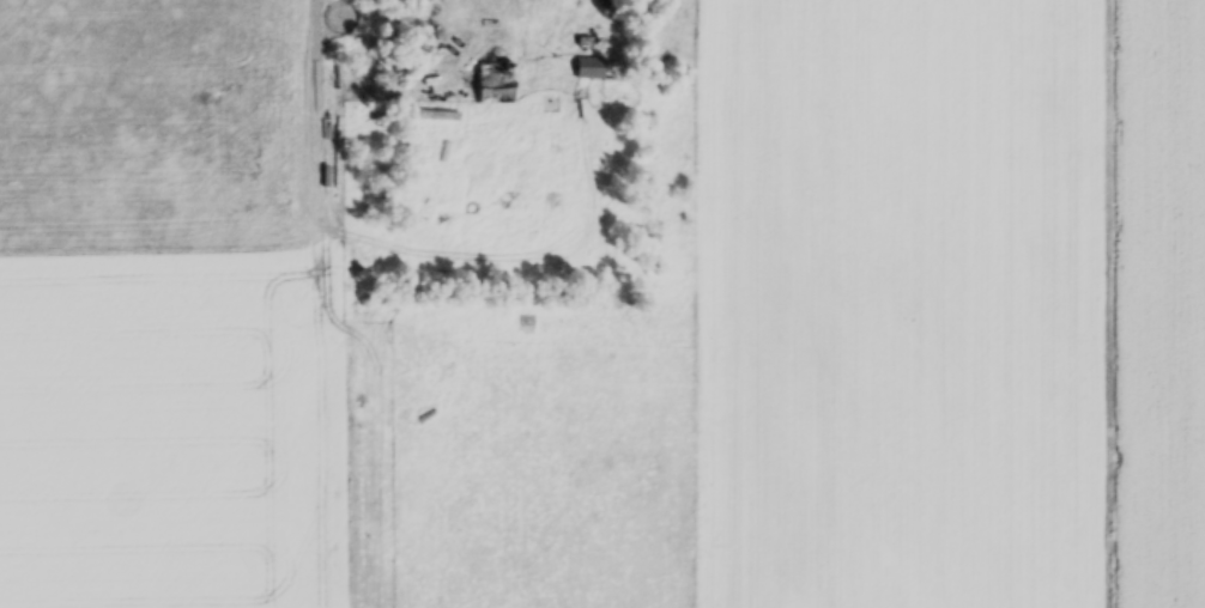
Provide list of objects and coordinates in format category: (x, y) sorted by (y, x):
road: (597, 25)
building: (591, 69)

